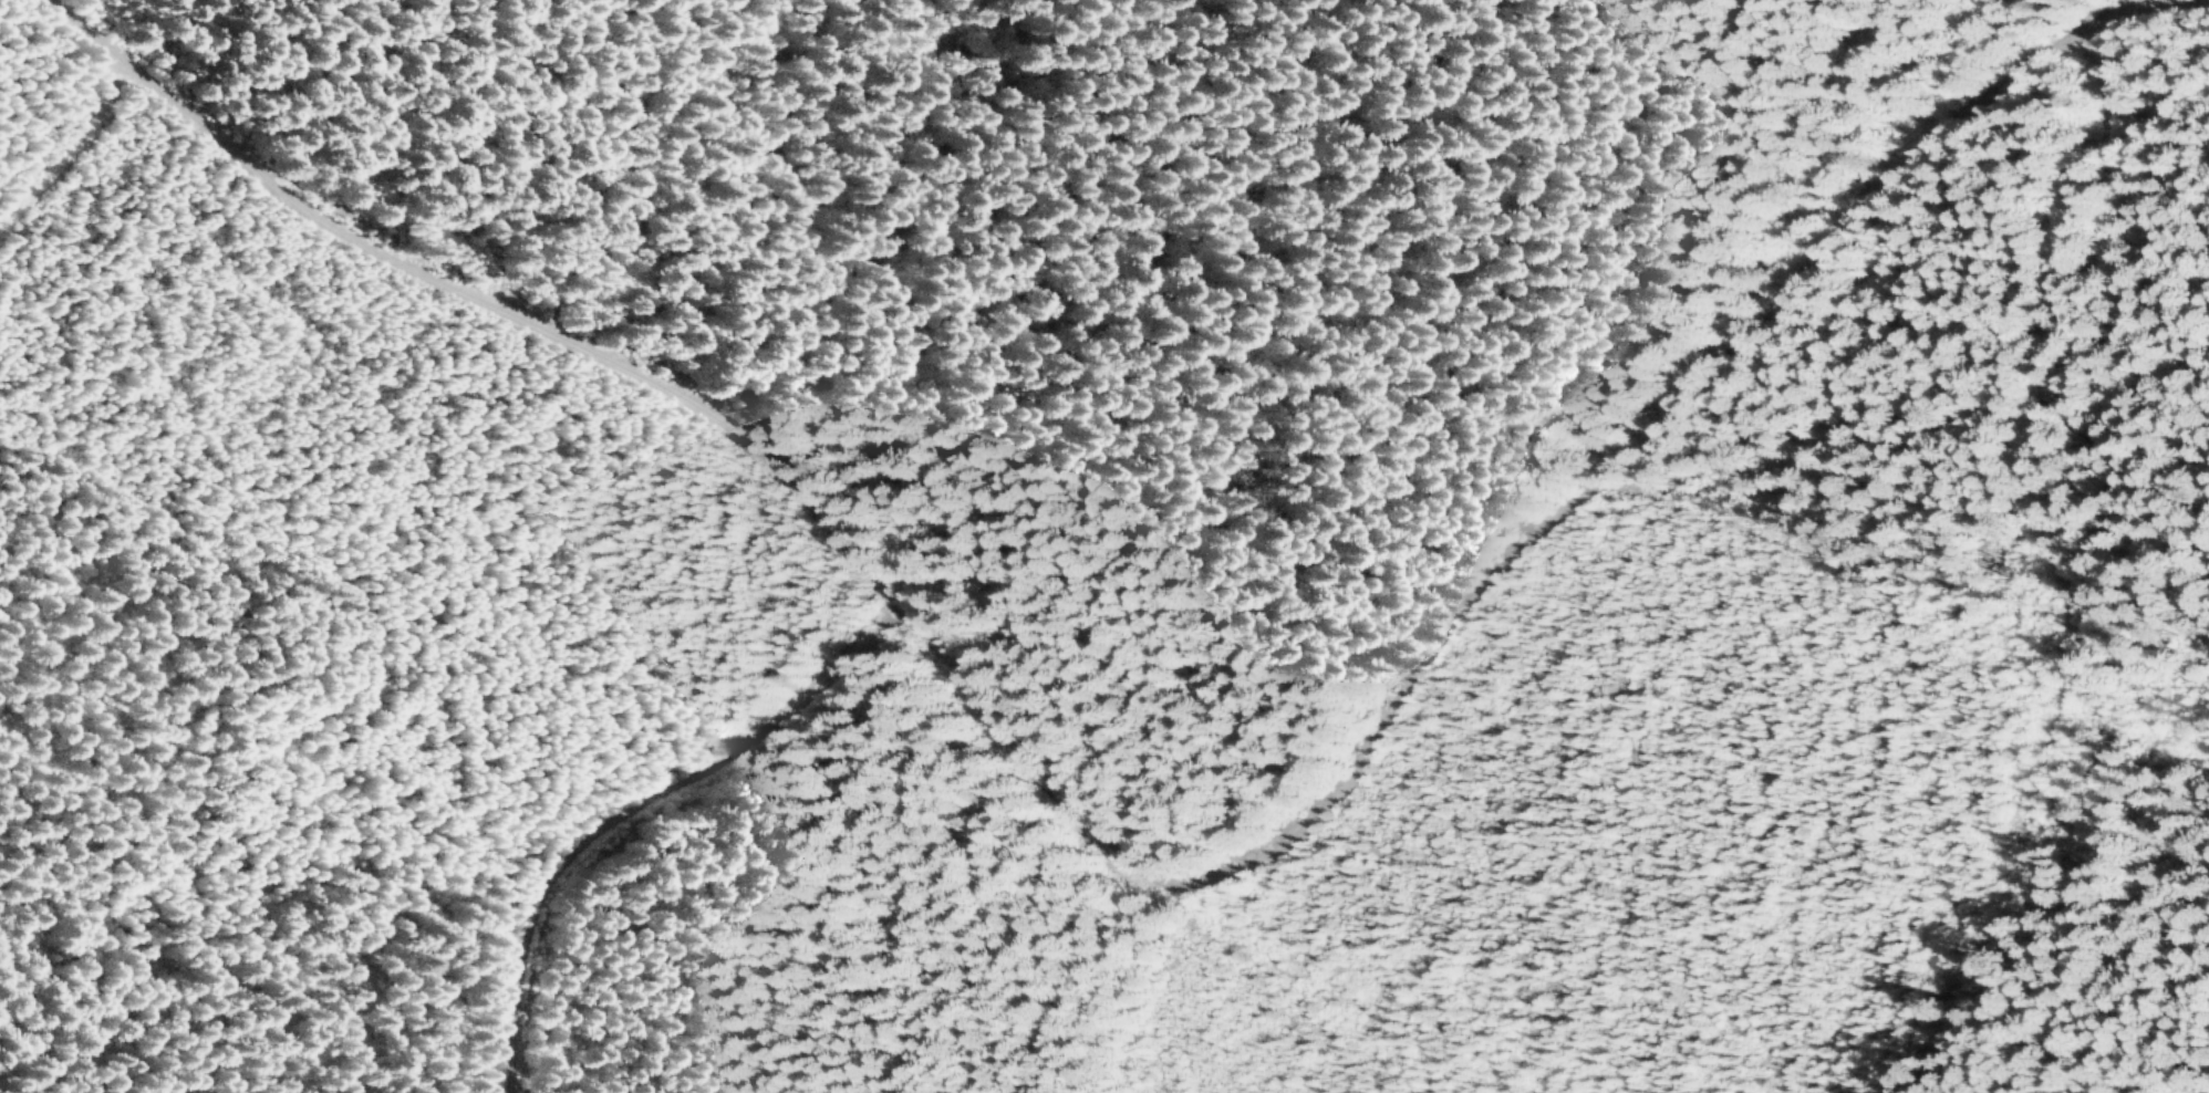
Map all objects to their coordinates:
road: (632, 803)
road: (1127, 864)

